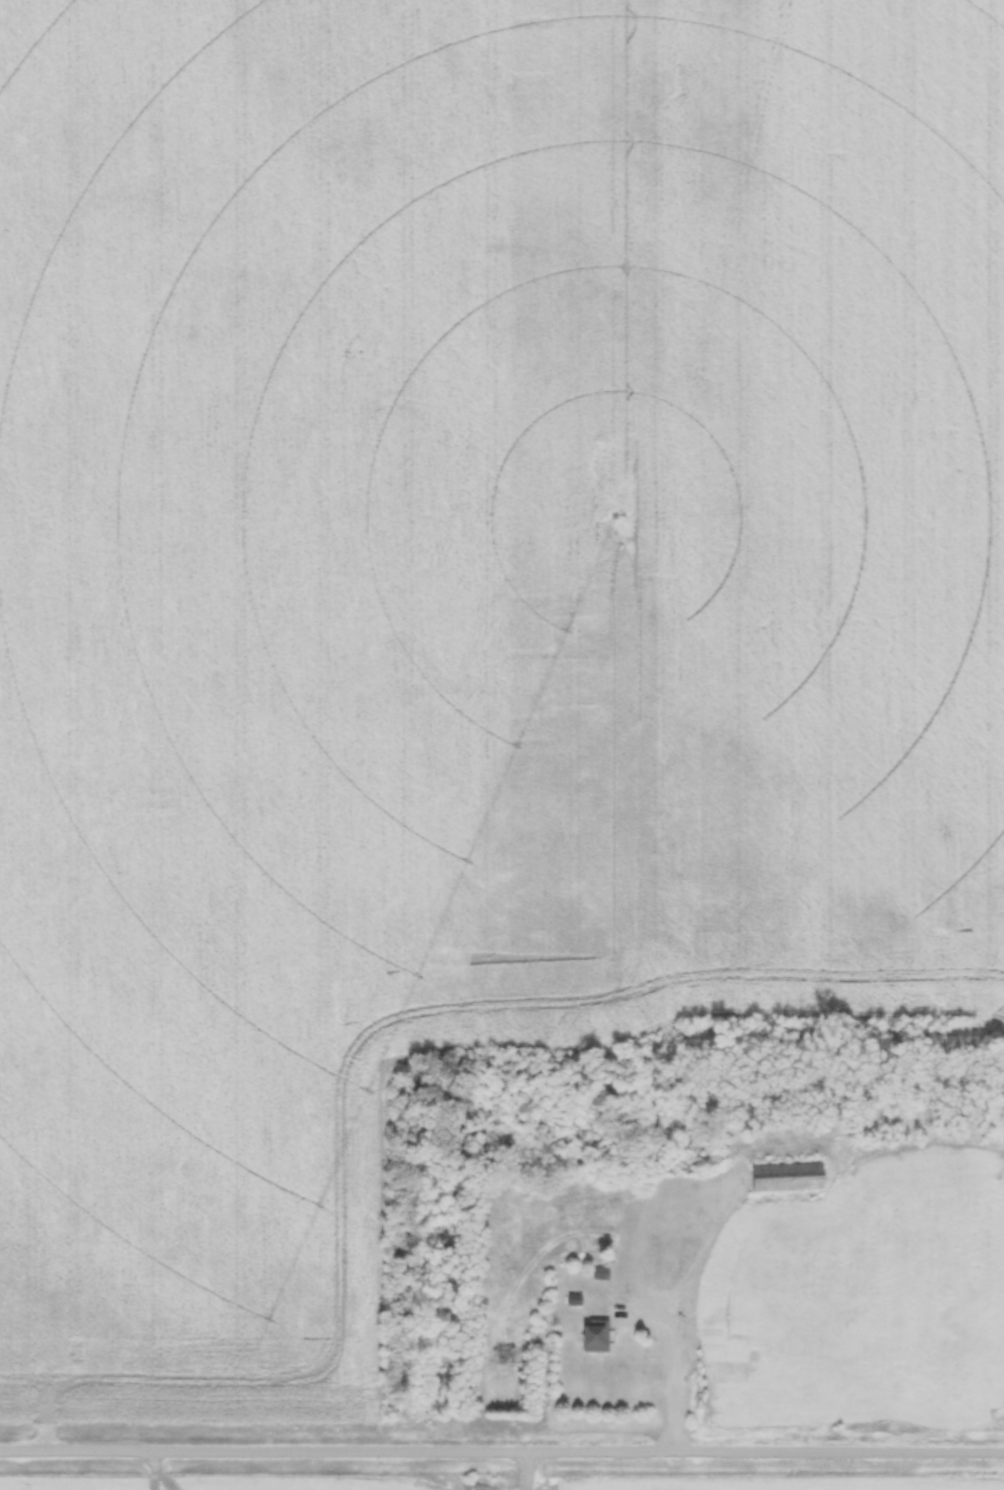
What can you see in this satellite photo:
building: (724, 1161)
building: (682, 1165)
building: (785, 1174)
building: (599, 1270)
building: (573, 1299)
building: (593, 1336)
building: (722, 1343)
road: (671, 1353)
road: (672, 1427)
road: (501, 1448)

